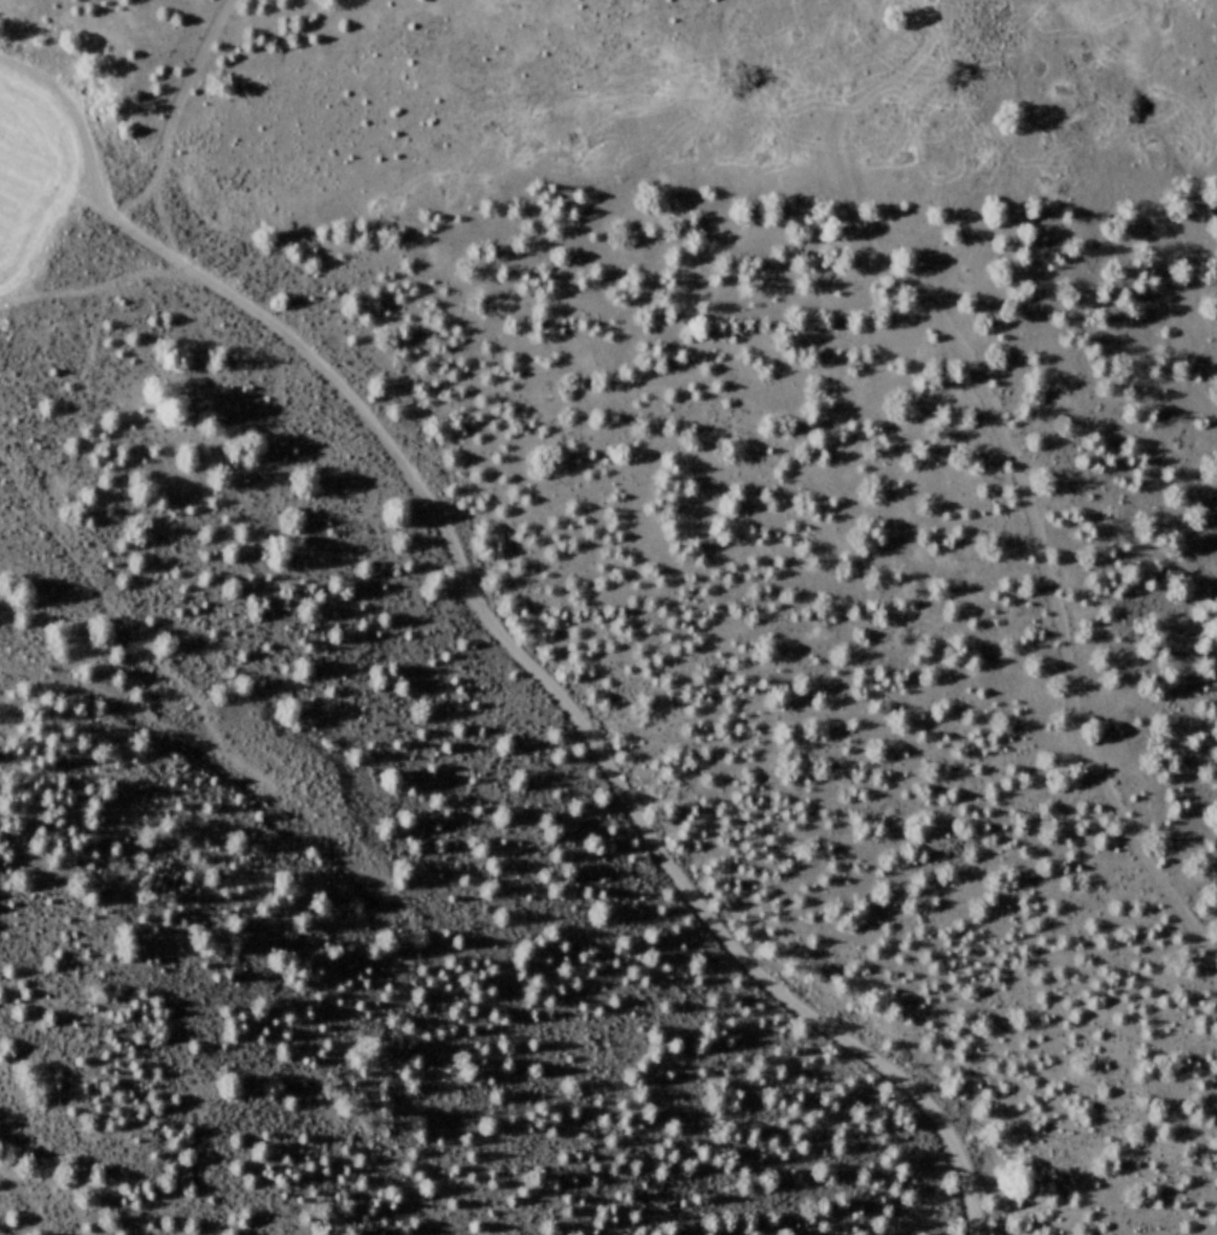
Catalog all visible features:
road: (497, 630)

